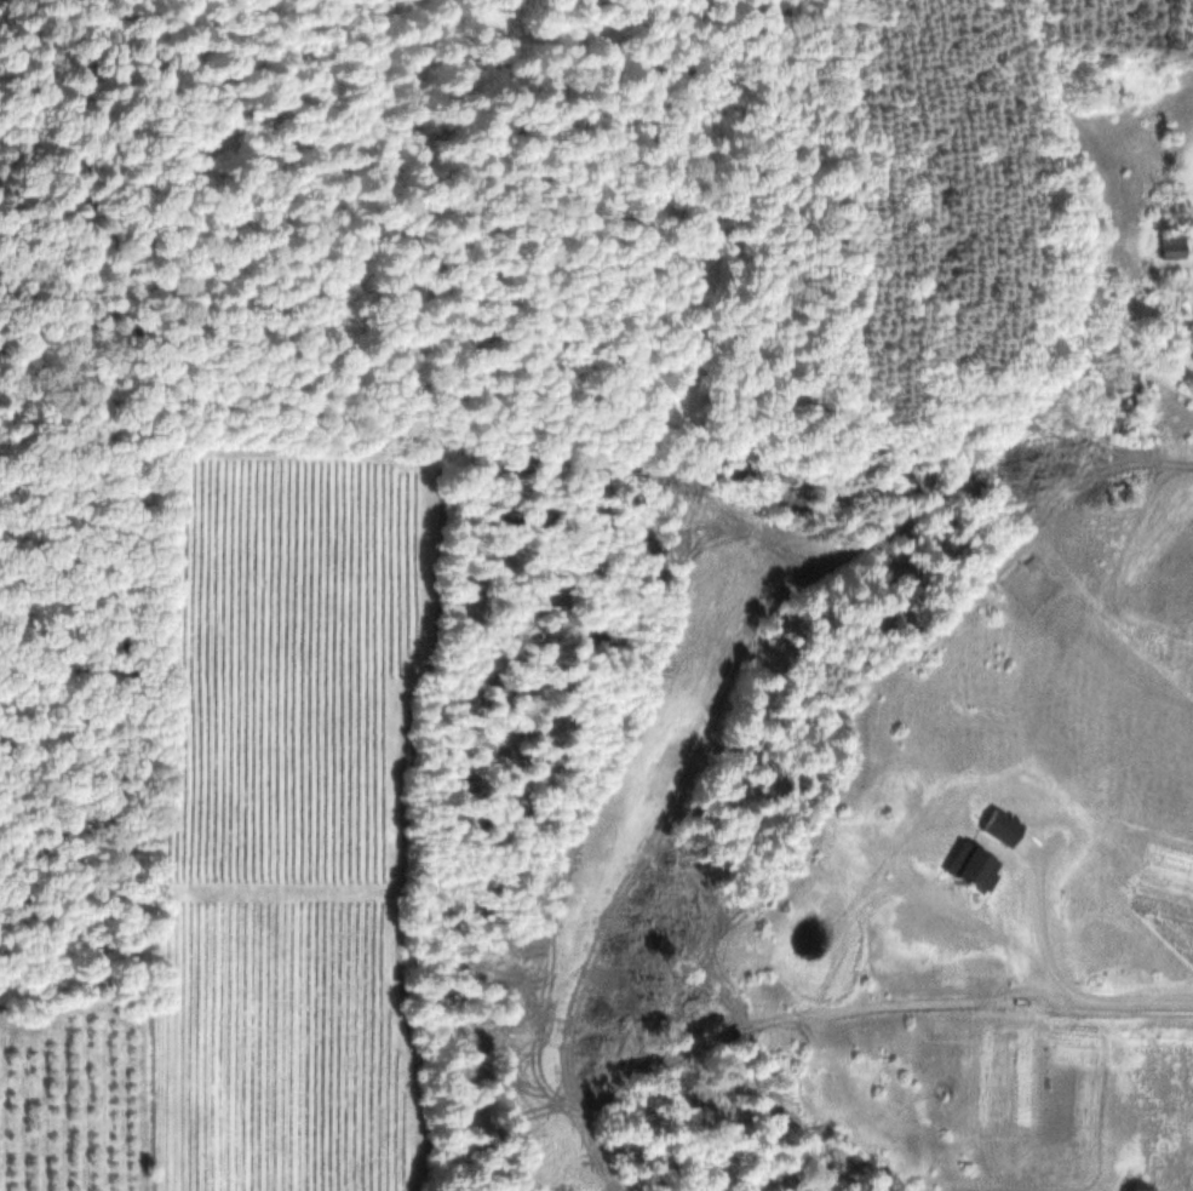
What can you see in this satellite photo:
building: (1164, 245)
building: (1123, 388)
road: (1065, 992)

